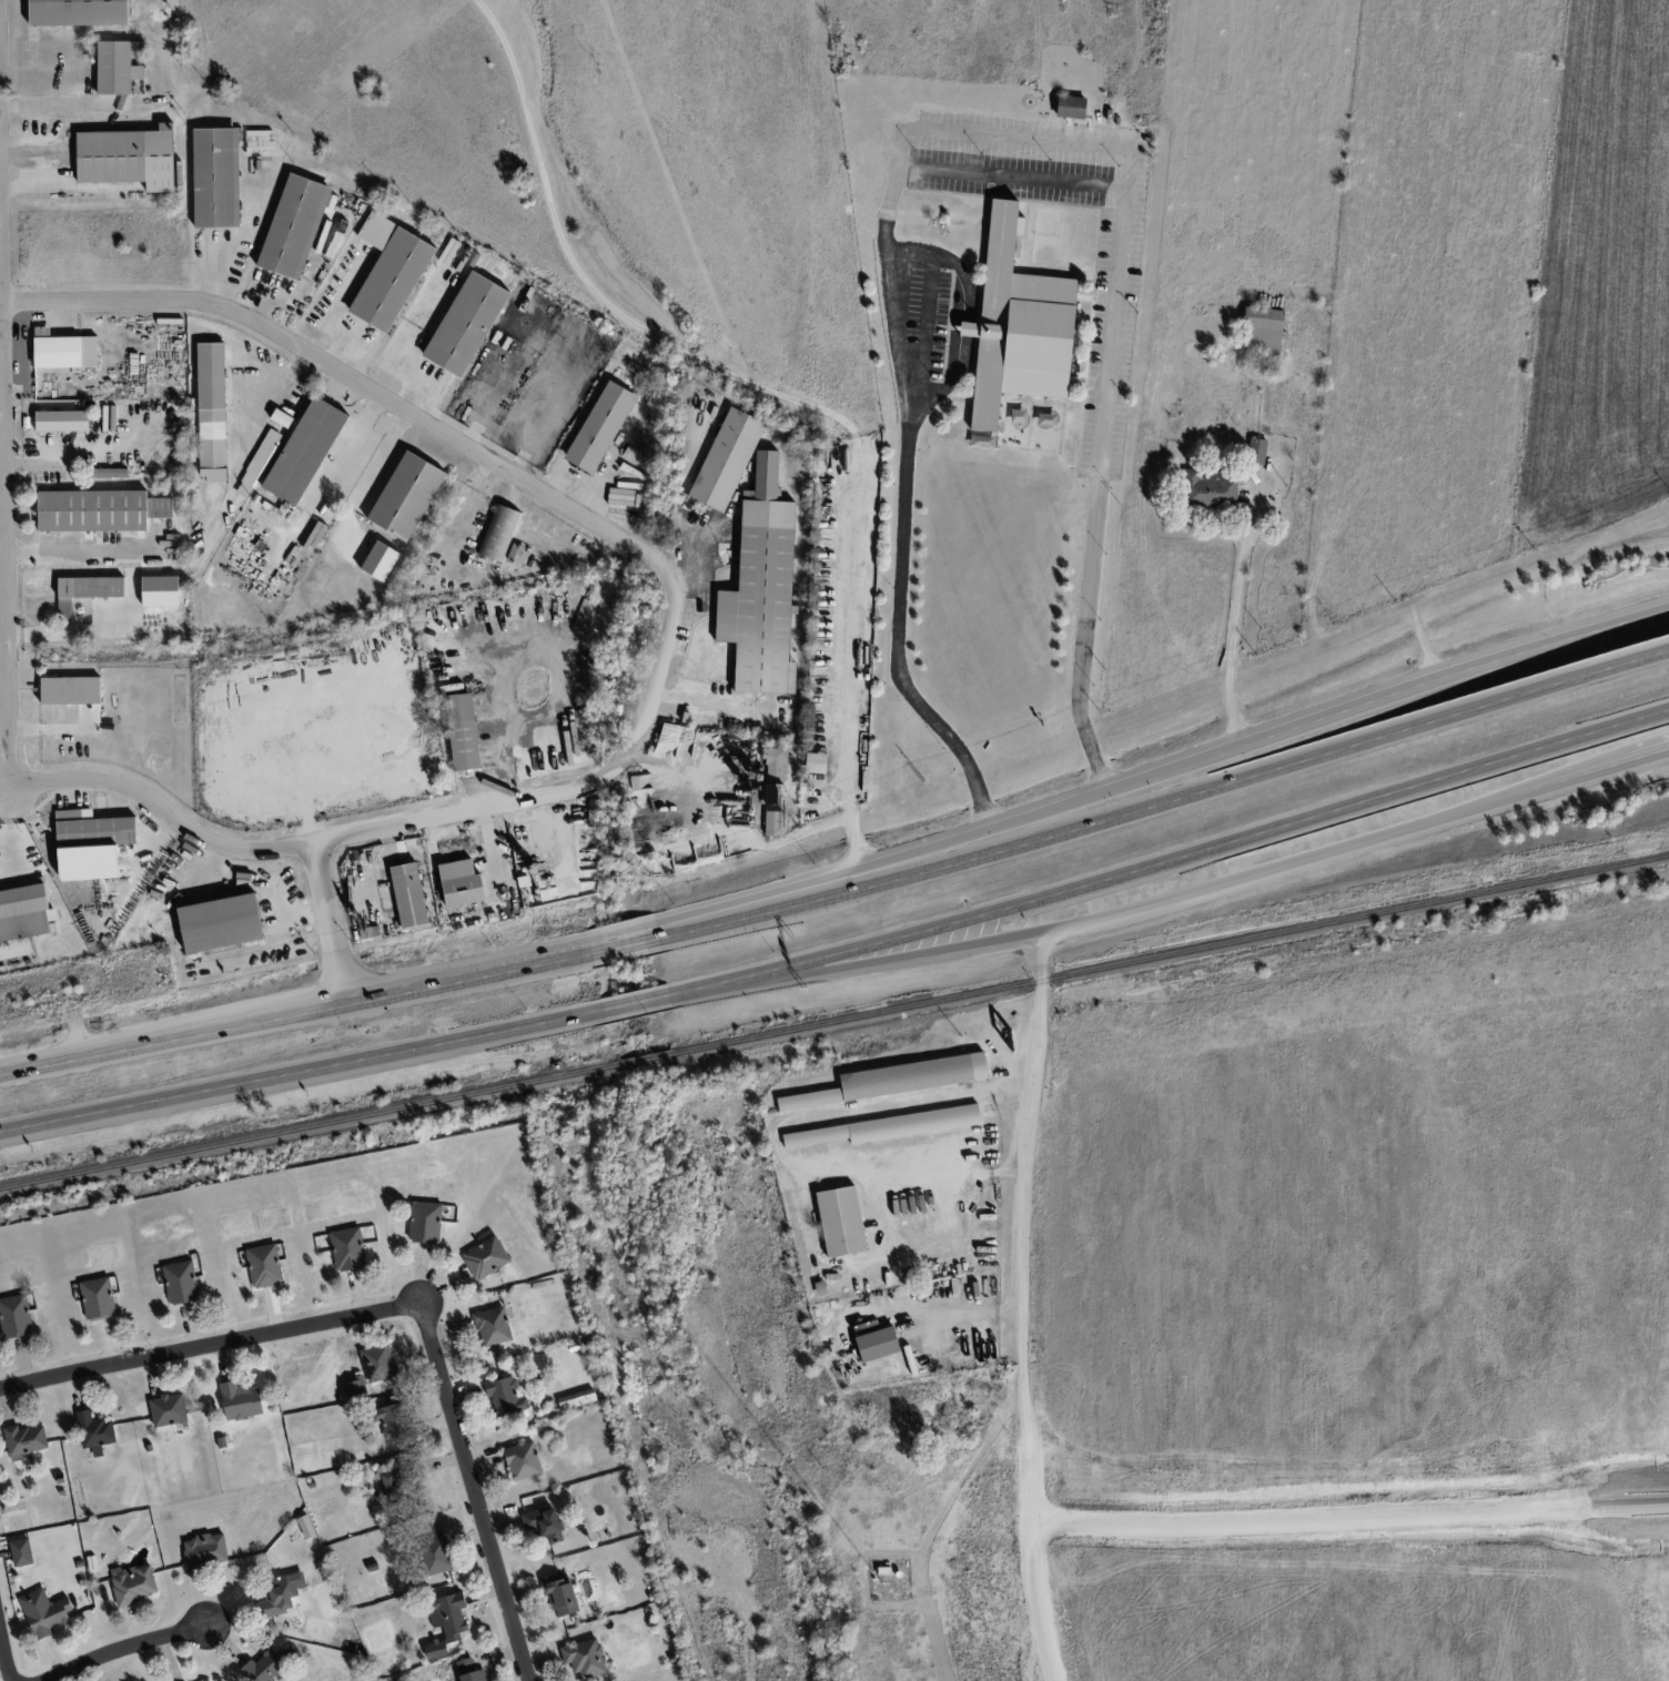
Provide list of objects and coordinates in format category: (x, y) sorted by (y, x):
building: (78, 12)
building: (118, 65)
road: (47, 105)
building: (1071, 107)
building: (259, 140)
building: (128, 158)
road: (973, 172)
building: (216, 178)
road: (33, 183)
building: (294, 226)
building: (390, 272)
building: (466, 324)
road: (210, 325)
building: (1018, 325)
road: (408, 328)
building: (1262, 330)
building: (63, 350)
road: (385, 365)
road: (264, 366)
road: (779, 395)
building: (211, 412)
road: (271, 413)
building: (282, 417)
building: (62, 421)
building: (600, 426)
road: (355, 436)
building: (1256, 450)
building: (304, 452)
road: (380, 457)
building: (726, 459)
road: (38, 462)
building: (109, 472)
road: (4, 476)
building: (1208, 490)
building: (406, 496)
building: (99, 510)
road: (345, 516)
road: (2, 521)
building: (499, 533)
road: (78, 548)
building: (515, 554)
road: (694, 559)
building: (380, 560)
building: (761, 587)
building: (87, 590)
road: (1234, 627)
road: (117, 629)
road: (669, 629)
road: (2, 632)
road: (14, 632)
road: (3, 671)
road: (1442, 679)
building: (70, 690)
road: (705, 700)
building: (462, 731)
road: (1652, 755)
building: (816, 762)
building: (775, 764)
road: (4, 772)
road: (1586, 776)
road: (7, 789)
road: (1165, 799)
building: (772, 809)
building: (594, 811)
road: (730, 836)
building: (91, 843)
road: (938, 844)
road: (1172, 862)
building: (461, 883)
building: (408, 894)
building: (24, 912)
road: (1109, 915)
road: (328, 919)
building: (220, 922)
road: (624, 942)
railway: (1171, 953)
road: (466, 973)
road: (636, 1002)
road: (172, 1033)
railway: (646, 1060)
road: (301, 1070)
building: (894, 1080)
railway: (308, 1126)
building: (886, 1127)
building: (840, 1221)
building: (425, 1222)
building: (347, 1248)
building: (486, 1257)
building: (264, 1265)
building: (181, 1282)
building: (98, 1298)
road: (401, 1305)
road: (1021, 1307)
building: (14, 1316)
building: (493, 1326)
building: (877, 1344)
building: (378, 1361)
building: (354, 1387)
building: (505, 1396)
building: (577, 1398)
building: (240, 1400)
building: (170, 1412)
building: (391, 1422)
building: (94, 1431)
building: (24, 1440)
building: (523, 1460)
building: (391, 1483)
road: (1352, 1518)
building: (544, 1523)
building: (204, 1550)
building: (21, 1552)
building: (435, 1555)
building: (133, 1583)
building: (562, 1594)
building: (276, 1598)
building: (44, 1612)
building: (448, 1616)
road: (129, 1649)
building: (584, 1657)
road: (4, 1658)
building: (270, 1663)
building: (469, 1671)

